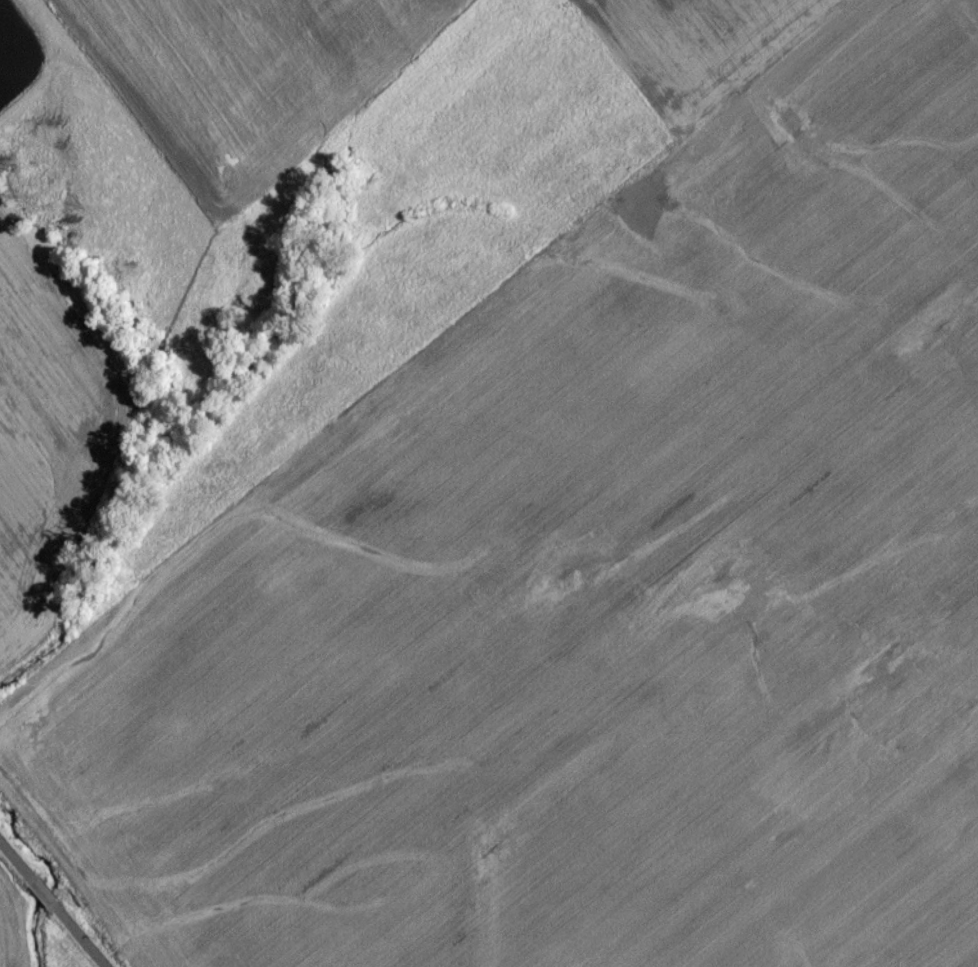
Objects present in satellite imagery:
road: (52, 905)

